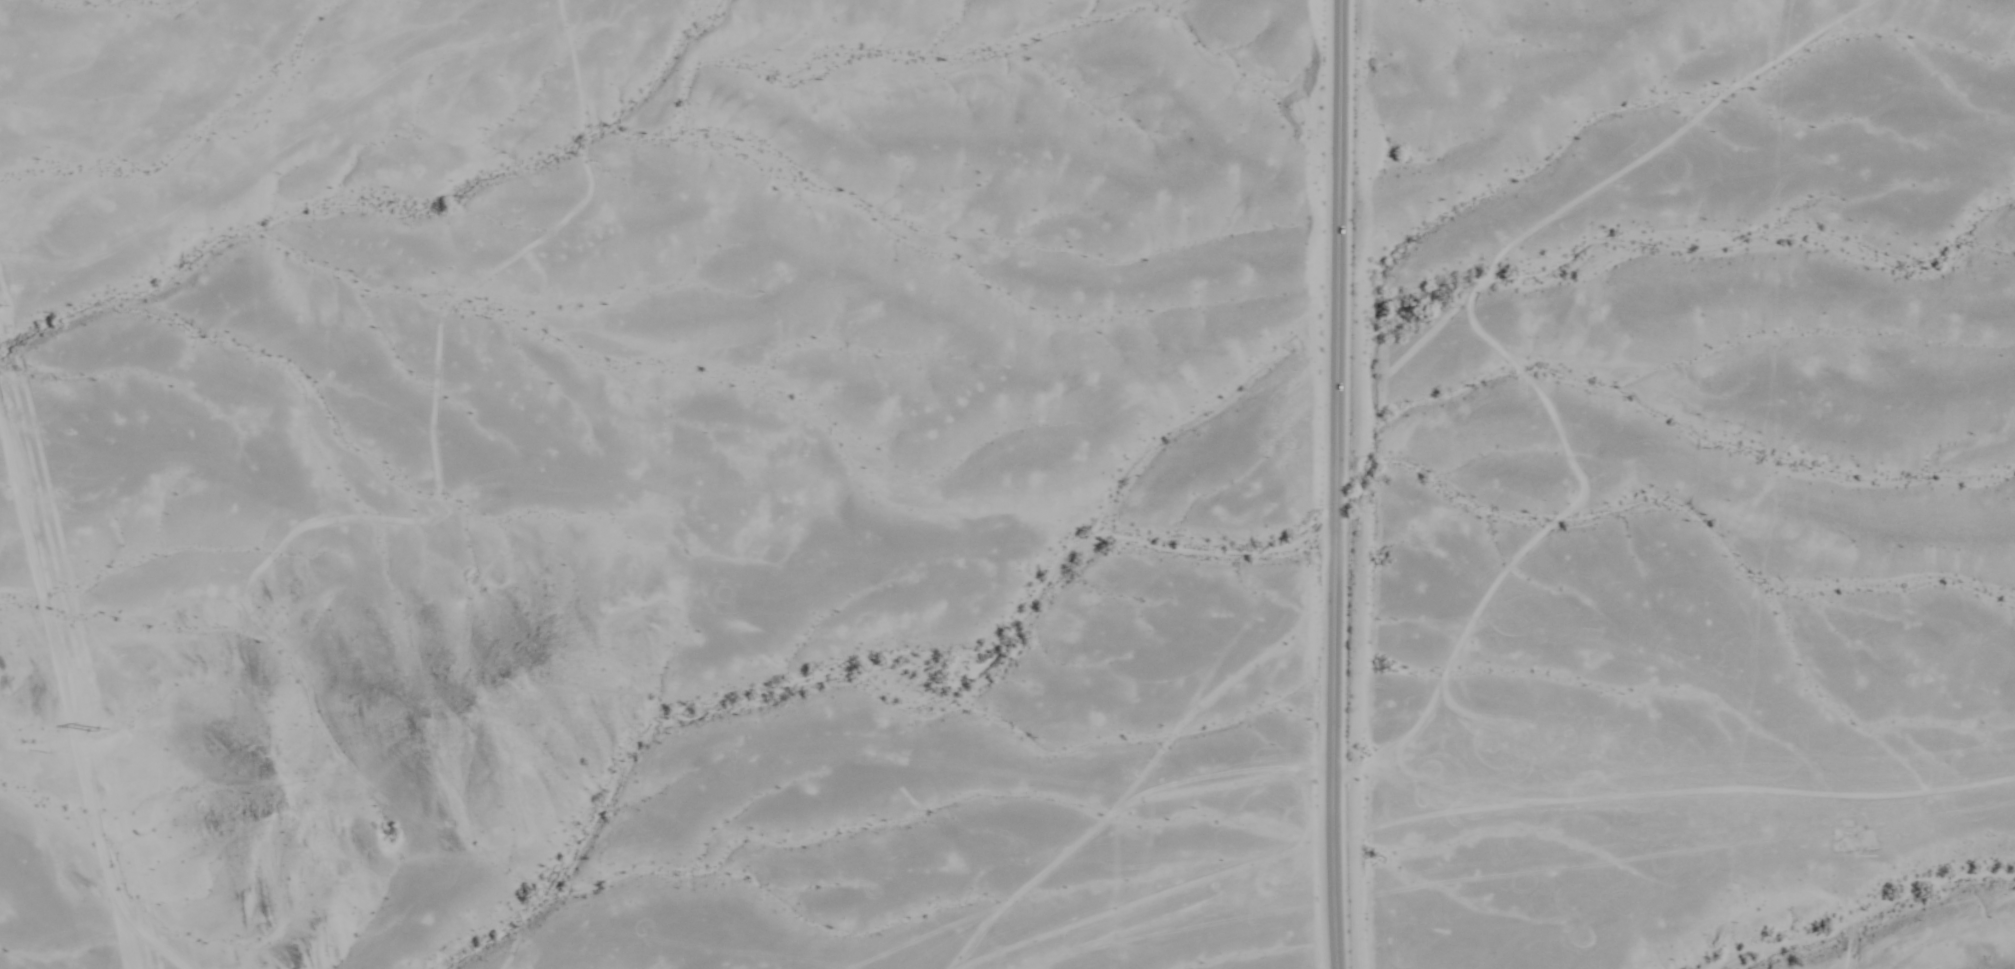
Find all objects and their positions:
power tower: (10, 308)
road: (1336, 484)
road: (64, 713)
power tower: (107, 732)

